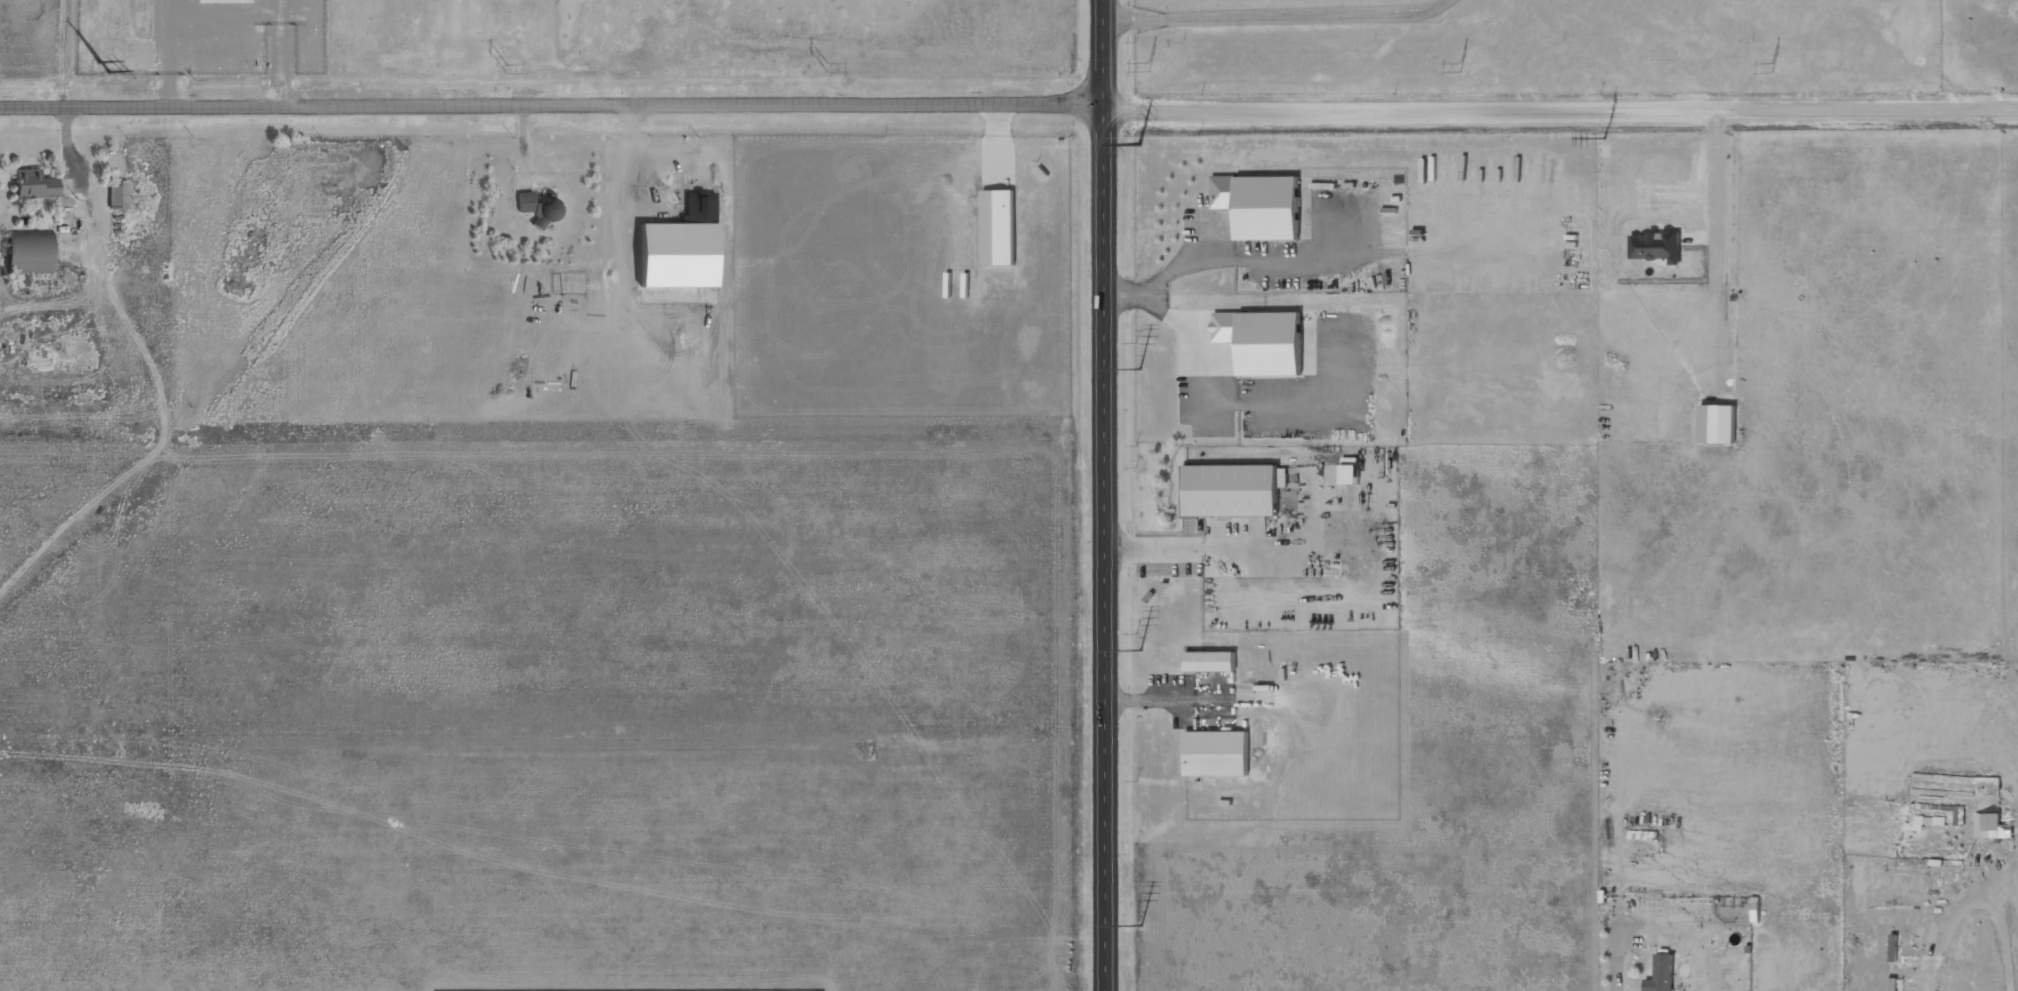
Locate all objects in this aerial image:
road: (1266, 21)
power tower: (1145, 67)
power tower: (104, 68)
power tower: (1461, 68)
power tower: (826, 69)
power tower: (1771, 69)
power tower: (506, 72)
road: (552, 107)
road: (1560, 109)
power tower: (1603, 138)
power tower: (1139, 142)
building: (36, 186)
building: (119, 196)
building: (1260, 206)
building: (540, 208)
building: (999, 228)
building: (1656, 247)
building: (31, 253)
building: (1263, 341)
power tower: (1139, 375)
building: (1719, 424)
building: (1350, 471)
building: (1234, 490)
road: (1106, 495)
power tower: (1140, 647)
building: (1211, 662)
building: (1217, 754)
building: (1922, 822)
building: (1993, 826)
power tower: (1140, 925)
building: (1662, 974)

